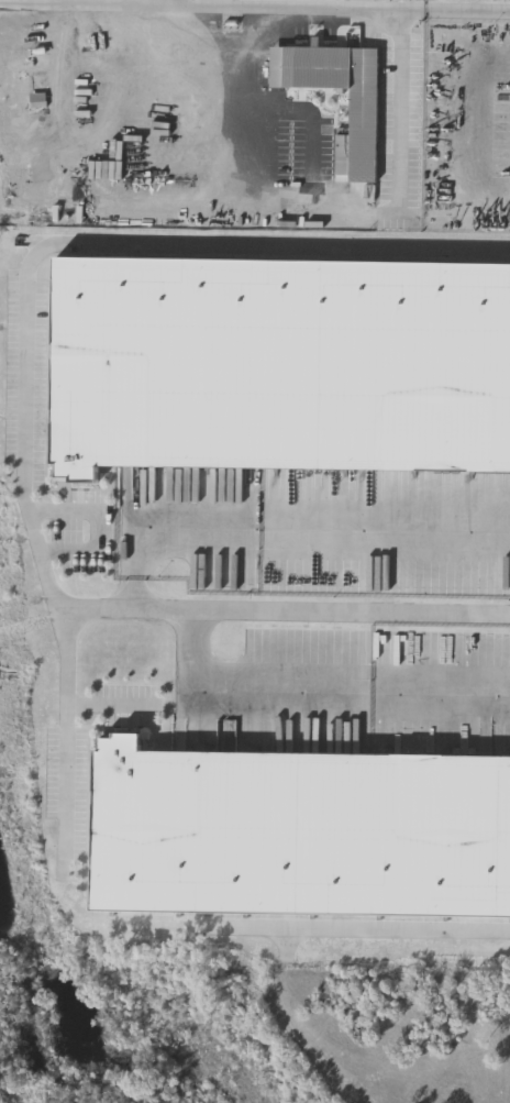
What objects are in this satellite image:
road: (68, 2)
road: (167, 3)
road: (255, 8)
building: (370, 112)
road: (481, 134)
road: (324, 206)
road: (275, 247)
building: (281, 363)
road: (286, 540)
road: (48, 562)
road: (286, 614)
road: (319, 682)
building: (301, 831)
road: (366, 930)

